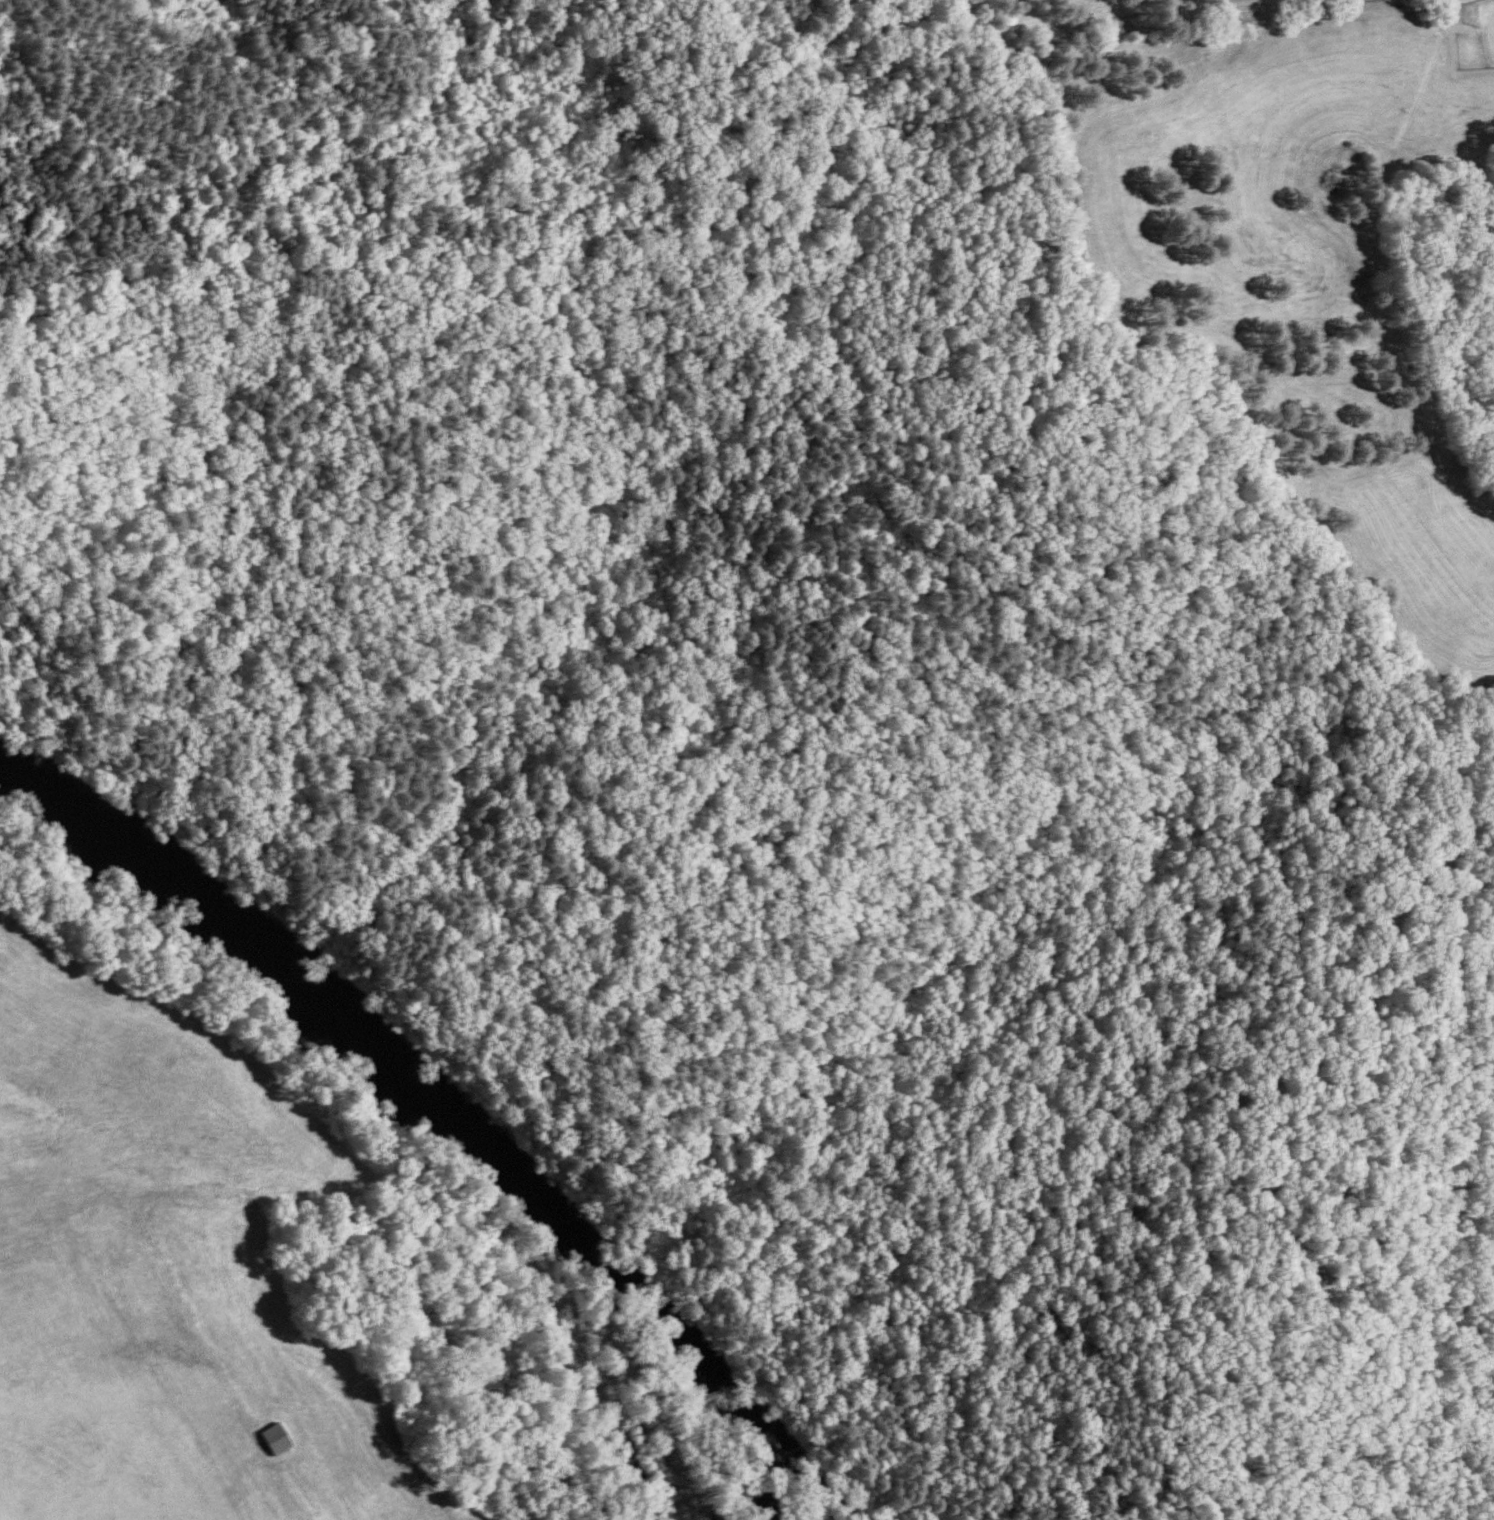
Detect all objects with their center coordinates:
road: (1152, 14)
road: (516, 141)
river: (438, 1111)
airport runway: (181, 1368)
road: (904, 1433)
river: (826, 1490)
road: (626, 1512)

